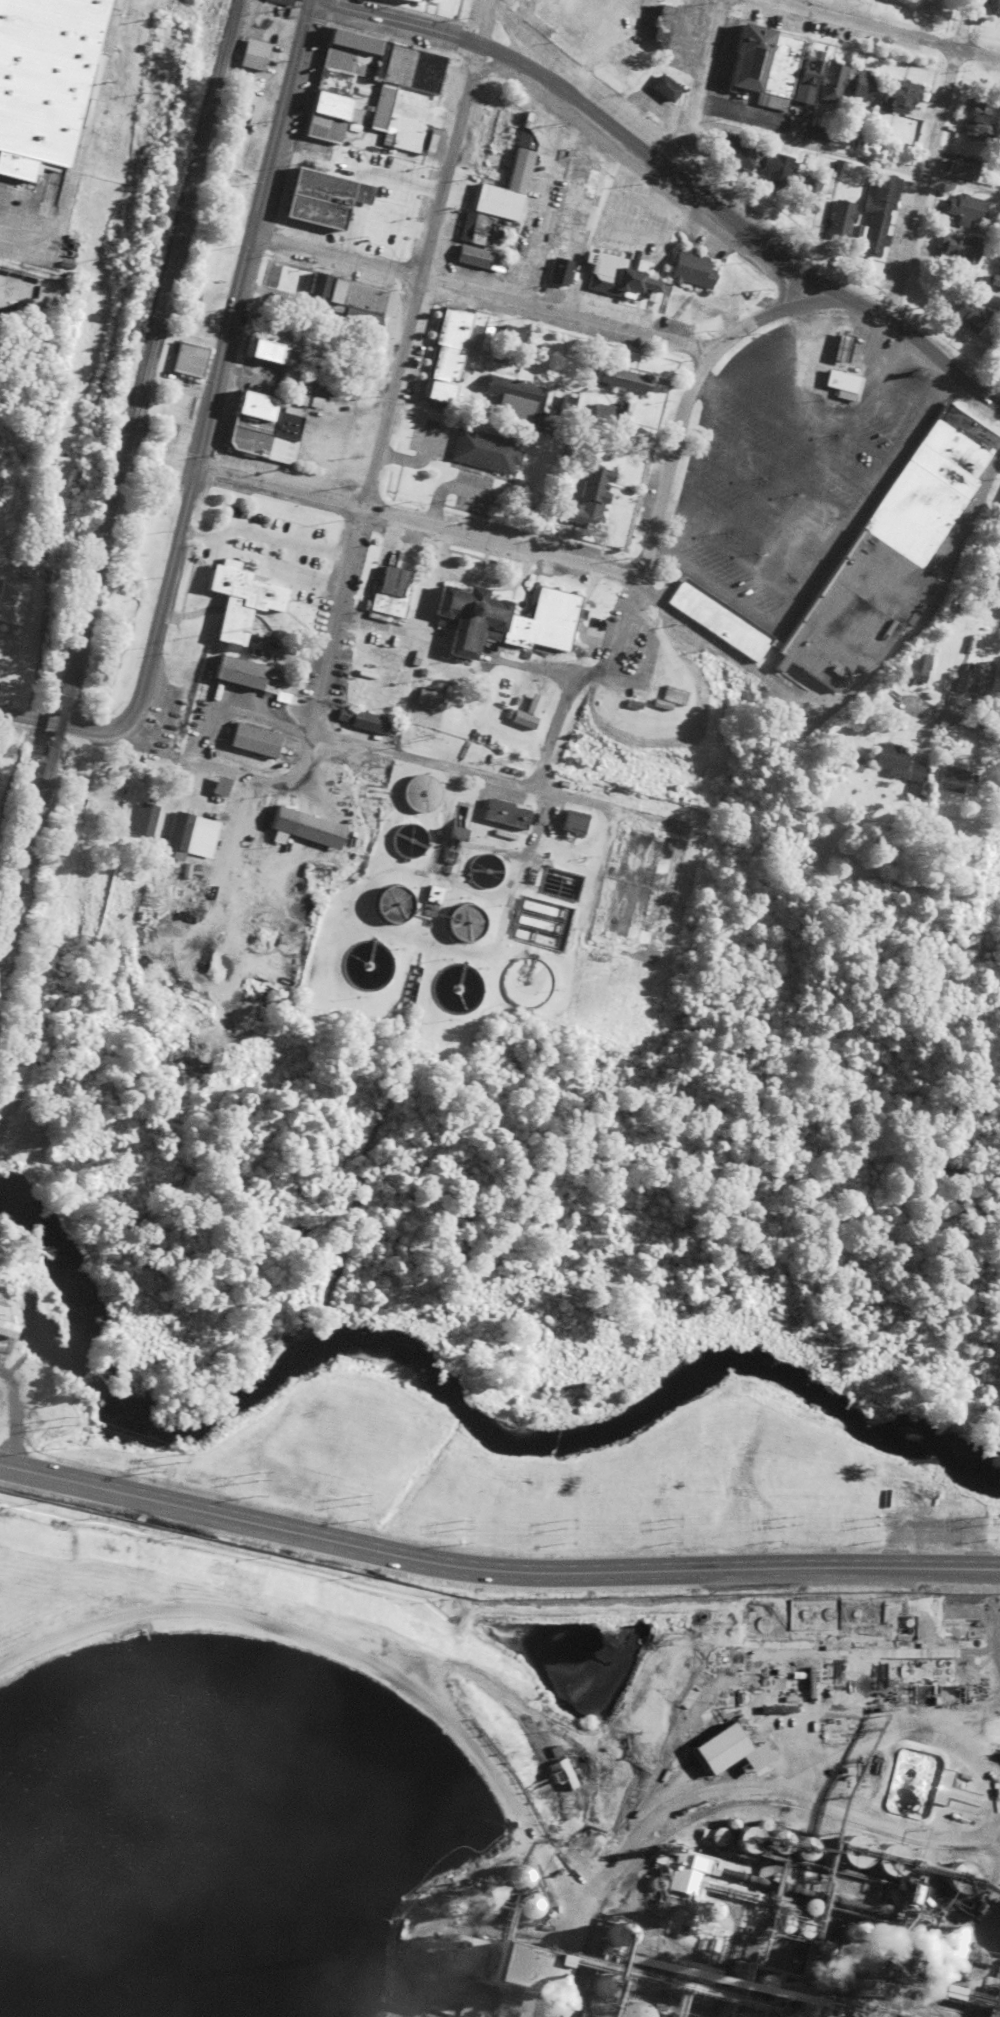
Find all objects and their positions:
road: (886, 28)
road: (437, 33)
road: (698, 88)
road: (68, 149)
road: (647, 154)
road: (845, 156)
road: (928, 157)
road: (427, 252)
road: (950, 280)
road: (544, 304)
road: (885, 326)
road: (917, 336)
railway: (150, 348)
road: (746, 351)
road: (220, 362)
road: (993, 371)
road: (249, 377)
road: (702, 385)
road: (867, 387)
road: (902, 388)
road: (815, 408)
road: (884, 416)
road: (793, 437)
road: (671, 461)
road: (414, 462)
road: (777, 467)
road: (279, 482)
road: (448, 487)
road: (764, 497)
road: (749, 528)
road: (260, 533)
road: (500, 539)
road: (735, 560)
road: (820, 563)
road: (289, 570)
road: (341, 578)
road: (477, 579)
road: (417, 634)
road: (540, 668)
road: (858, 678)
road: (610, 679)
road: (956, 718)
railway: (57, 724)
road: (59, 724)
road: (355, 741)
road: (301, 764)
road: (608, 807)
road: (441, 821)
road: (531, 837)
road: (495, 851)
railway: (25, 854)
wastewater plant: (507, 897)
road: (494, 1570)
road: (710, 1792)
railway: (726, 1807)
railway: (964, 1846)

